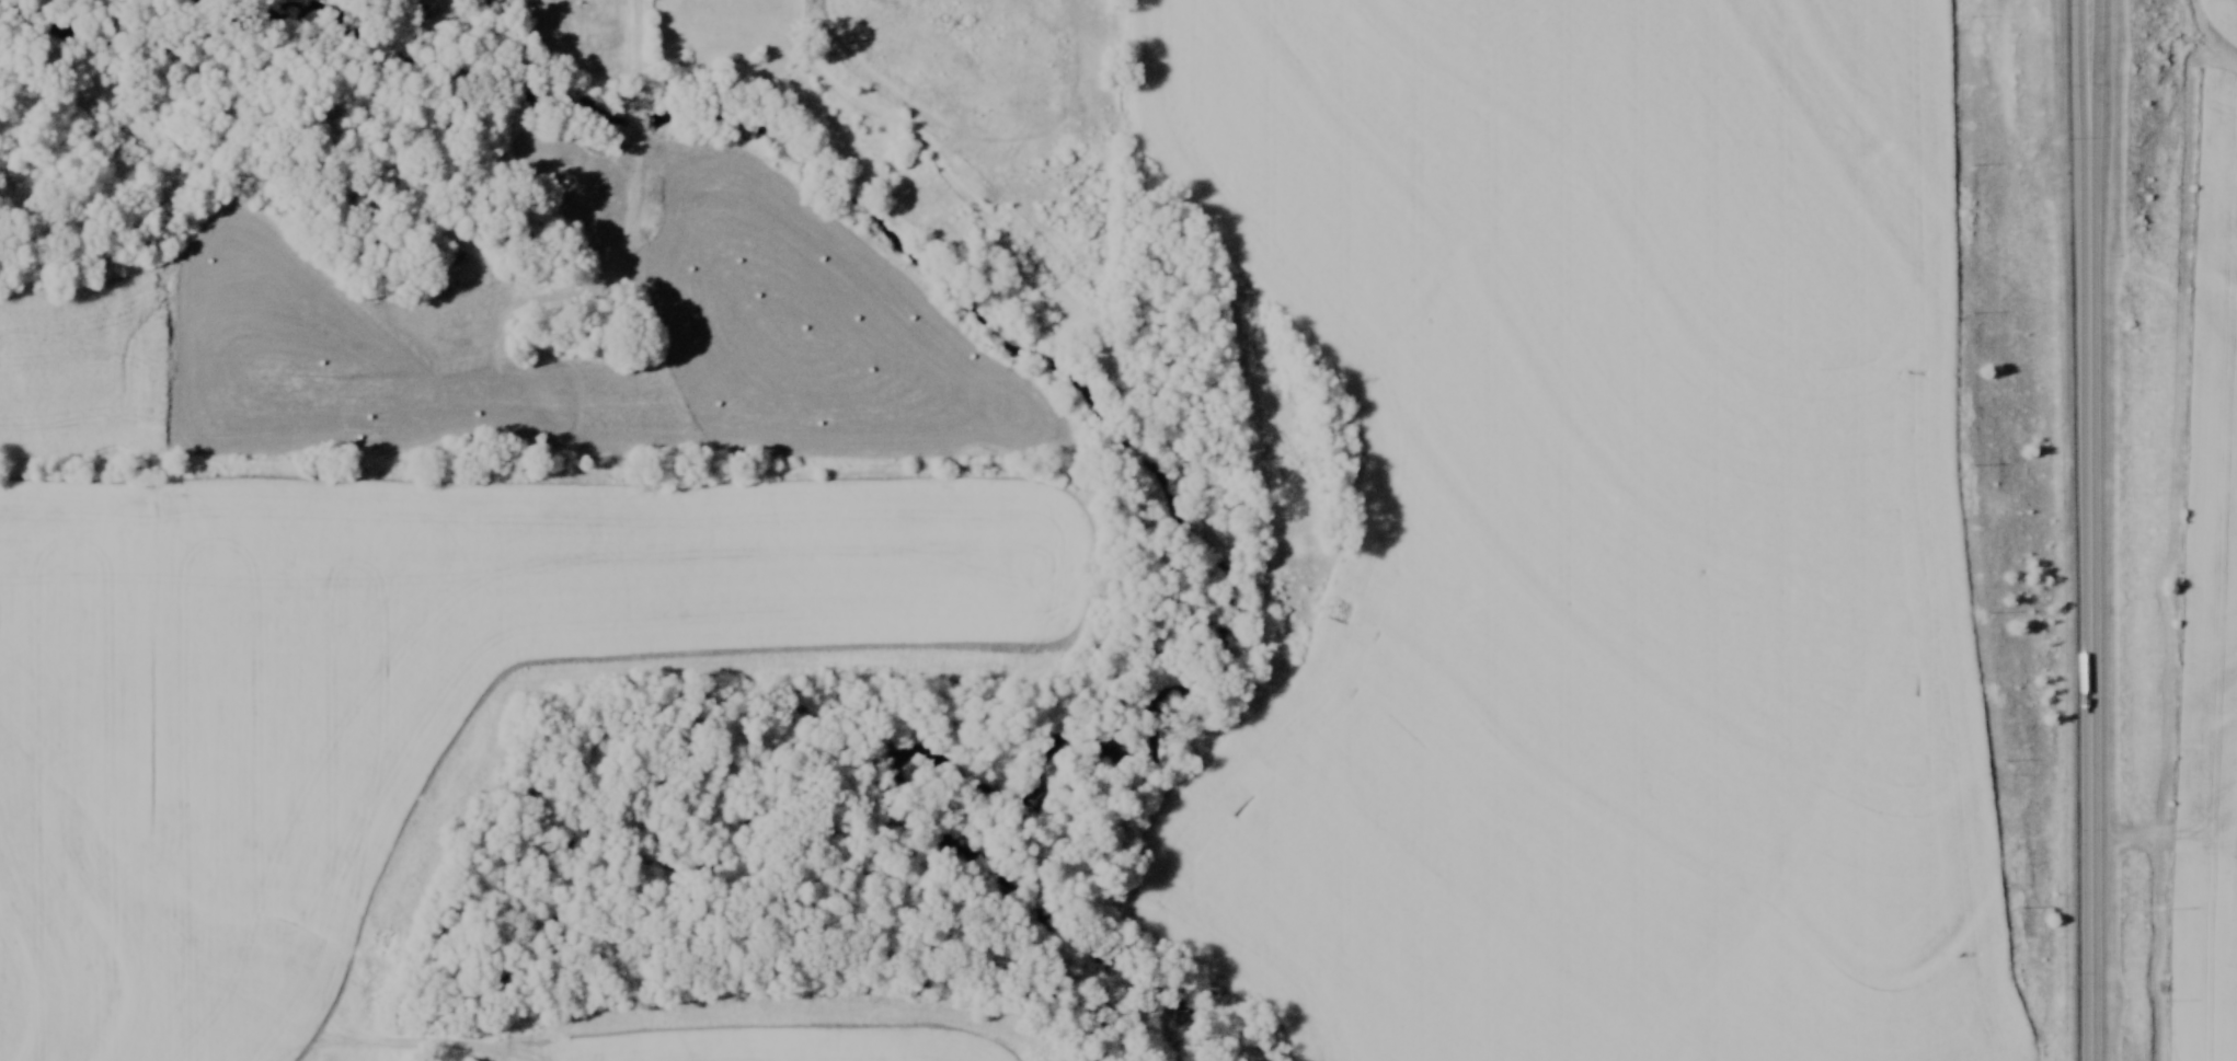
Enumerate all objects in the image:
road: (2092, 530)

